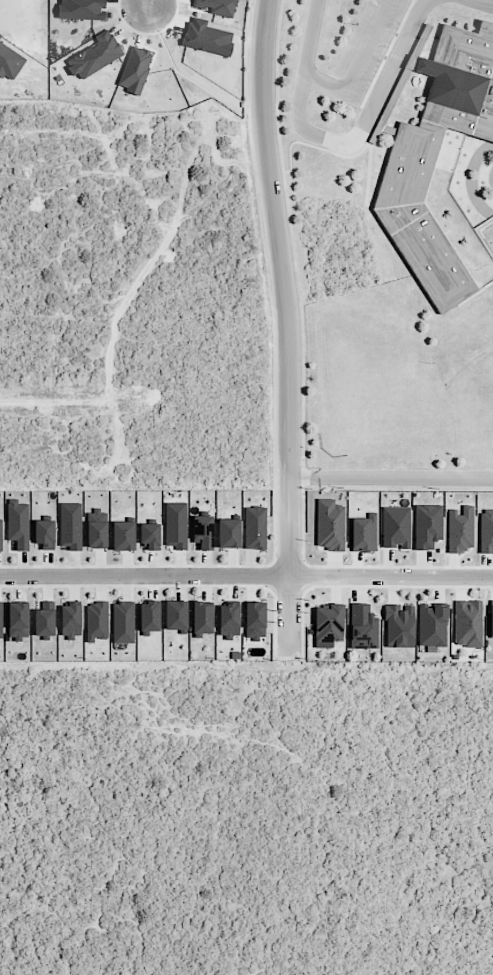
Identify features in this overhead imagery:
road: (148, 3)
road: (482, 3)
road: (370, 47)
parking lot: (365, 49)
road: (386, 53)
road: (396, 56)
road: (416, 64)
building: (134, 69)
road: (326, 84)
building: (401, 84)
road: (373, 137)
road: (341, 142)
road: (368, 175)
road: (473, 179)
building: (402, 184)
road: (136, 217)
road: (482, 227)
road: (290, 232)
road: (478, 233)
road: (471, 276)
road: (476, 292)
road: (177, 303)
road: (288, 328)
road: (273, 375)
road: (92, 398)
road: (302, 477)
road: (391, 478)
building: (18, 523)
building: (330, 524)
building: (176, 525)
building: (427, 525)
building: (396, 526)
building: (255, 527)
building: (97, 528)
building: (460, 528)
building: (486, 530)
building: (203, 531)
building: (228, 533)
building: (364, 533)
building: (123, 535)
building: (149, 535)
building: (0, 536)
road: (361, 566)
road: (144, 576)
road: (391, 576)
building: (175, 614)
building: (18, 615)
building: (149, 615)
building: (202, 617)
building: (491, 619)
building: (44, 620)
building: (70, 620)
building: (97, 620)
building: (229, 620)
building: (255, 620)
building: (123, 621)
building: (329, 623)
building: (468, 623)
building: (431, 625)
building: (363, 626)
building: (399, 626)
road: (274, 827)

